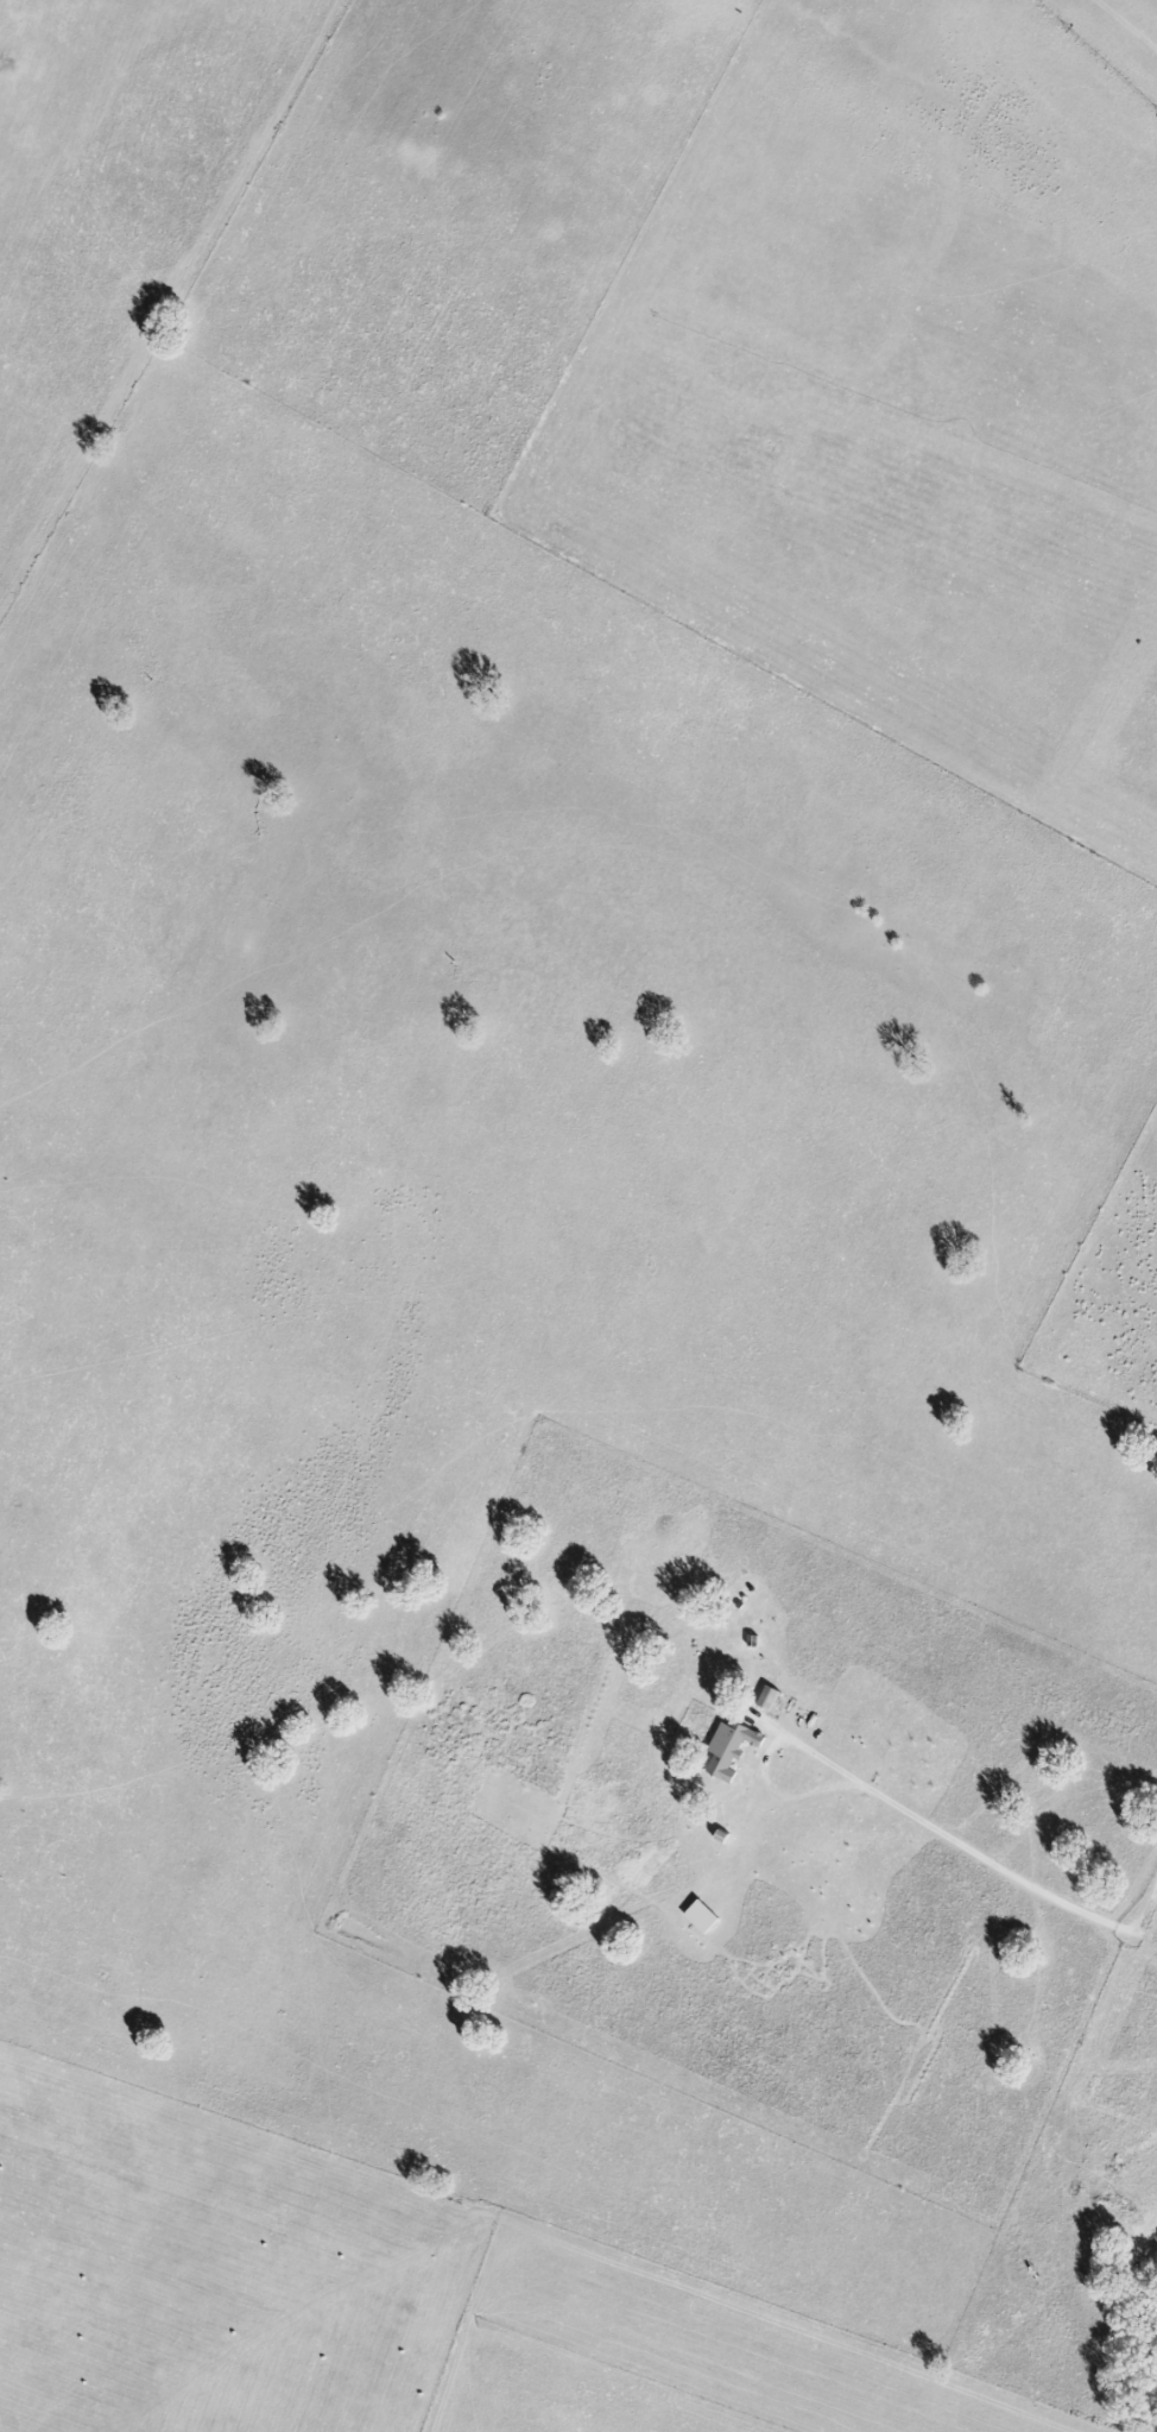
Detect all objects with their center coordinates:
building: (767, 1697)
building: (728, 1749)
road: (968, 1852)
road: (1146, 1913)
road: (1144, 1939)

